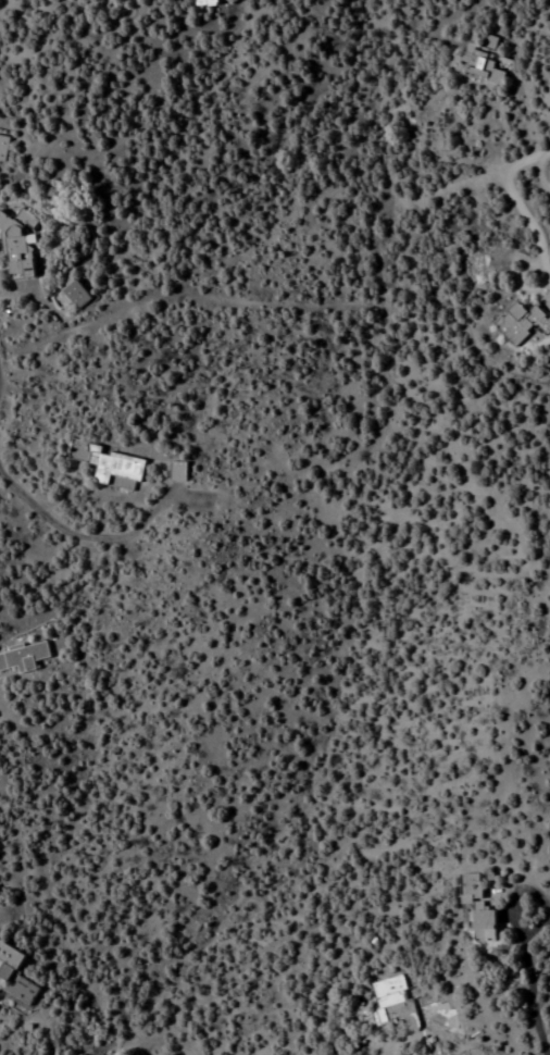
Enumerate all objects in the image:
building: (204, 2)
road: (477, 4)
building: (478, 66)
building: (3, 148)
road: (467, 179)
road: (527, 224)
building: (17, 247)
building: (73, 295)
building: (523, 324)
building: (114, 463)
building: (180, 470)
road: (92, 533)
building: (23, 658)
building: (477, 910)
building: (15, 979)
building: (404, 1005)
road: (417, 1053)

